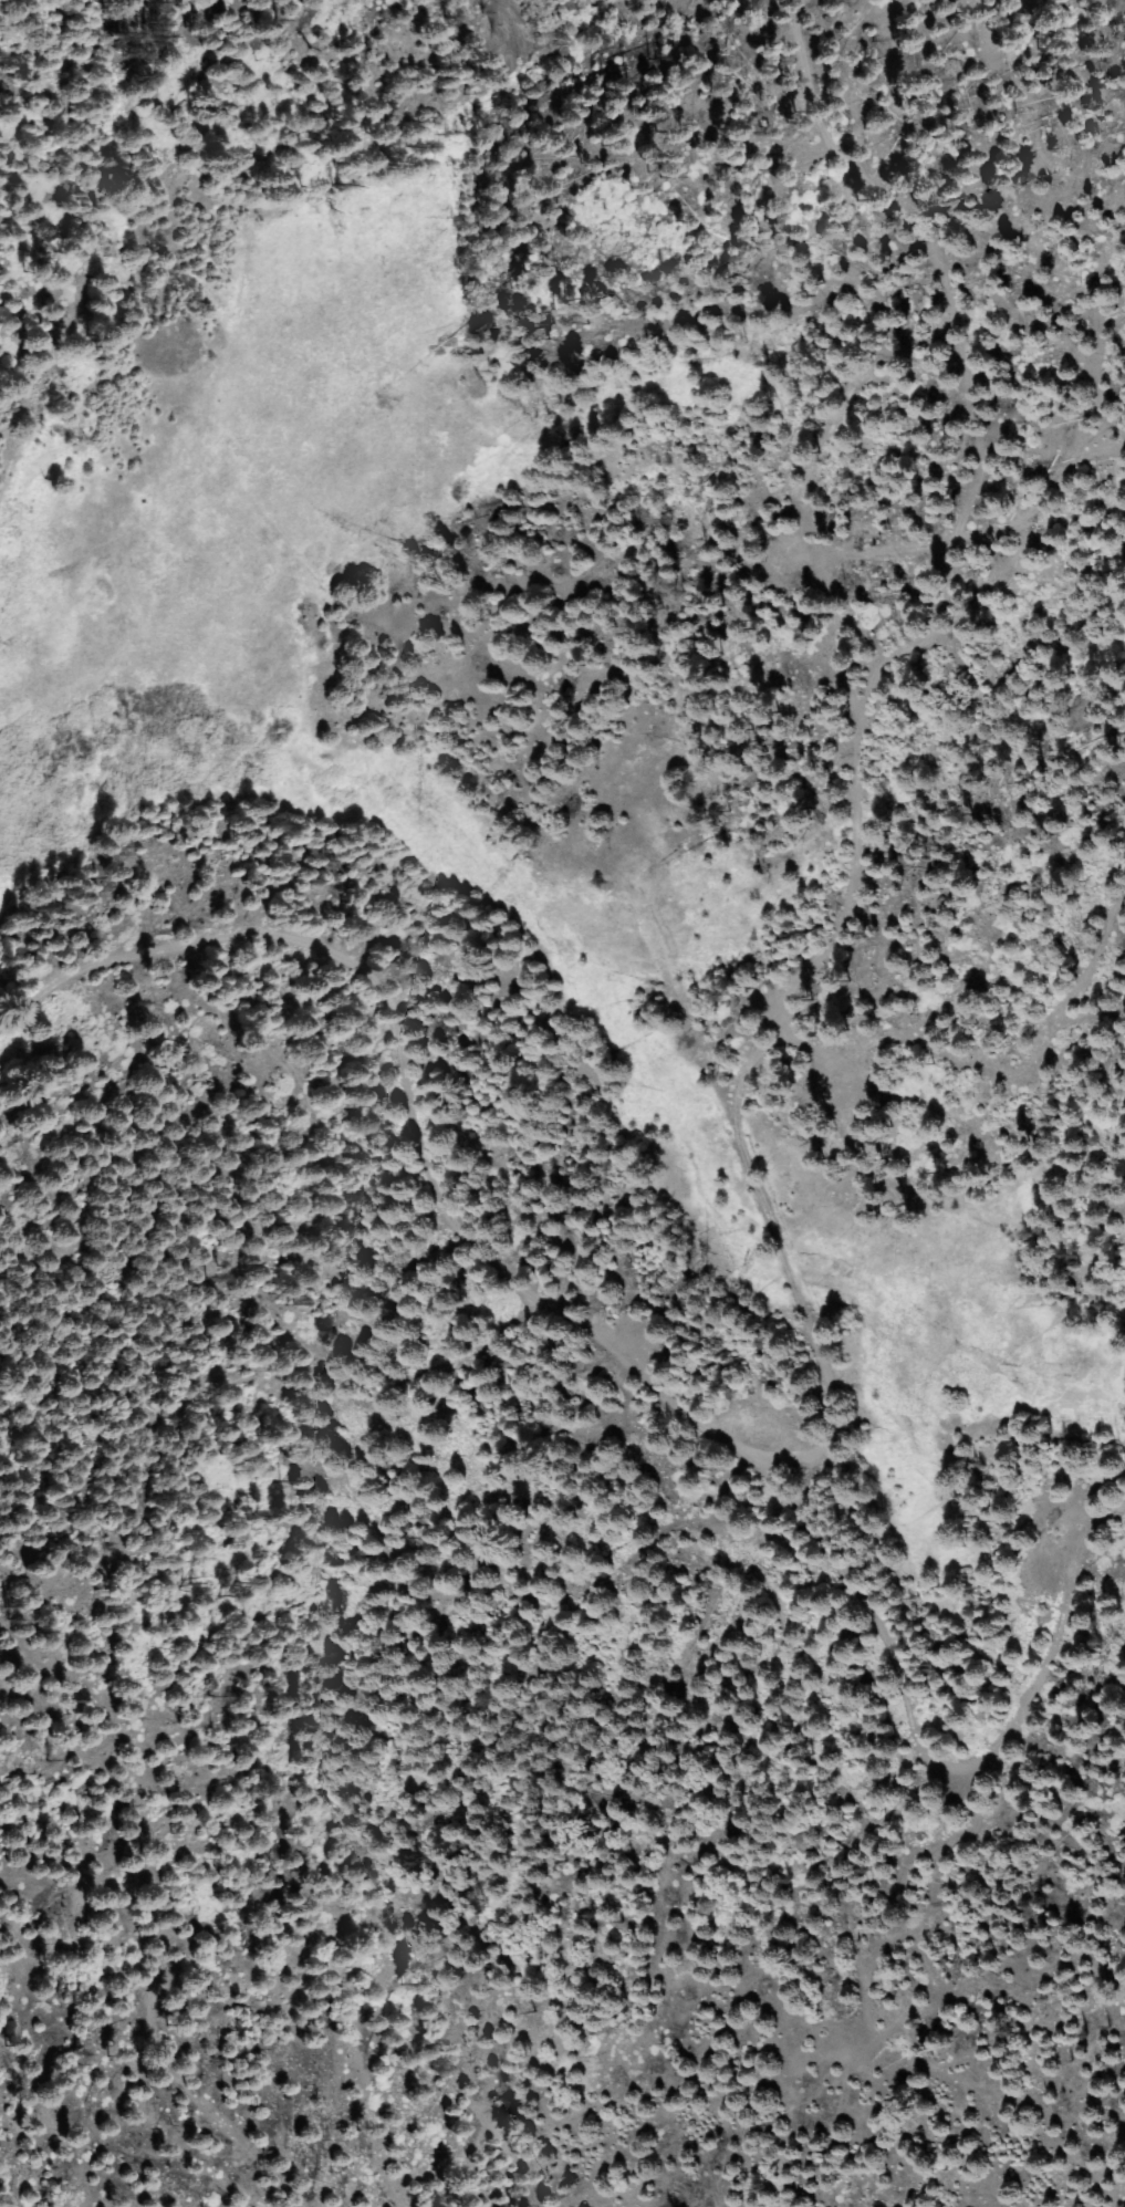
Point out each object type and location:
road: (560, 1312)
road: (917, 1691)

